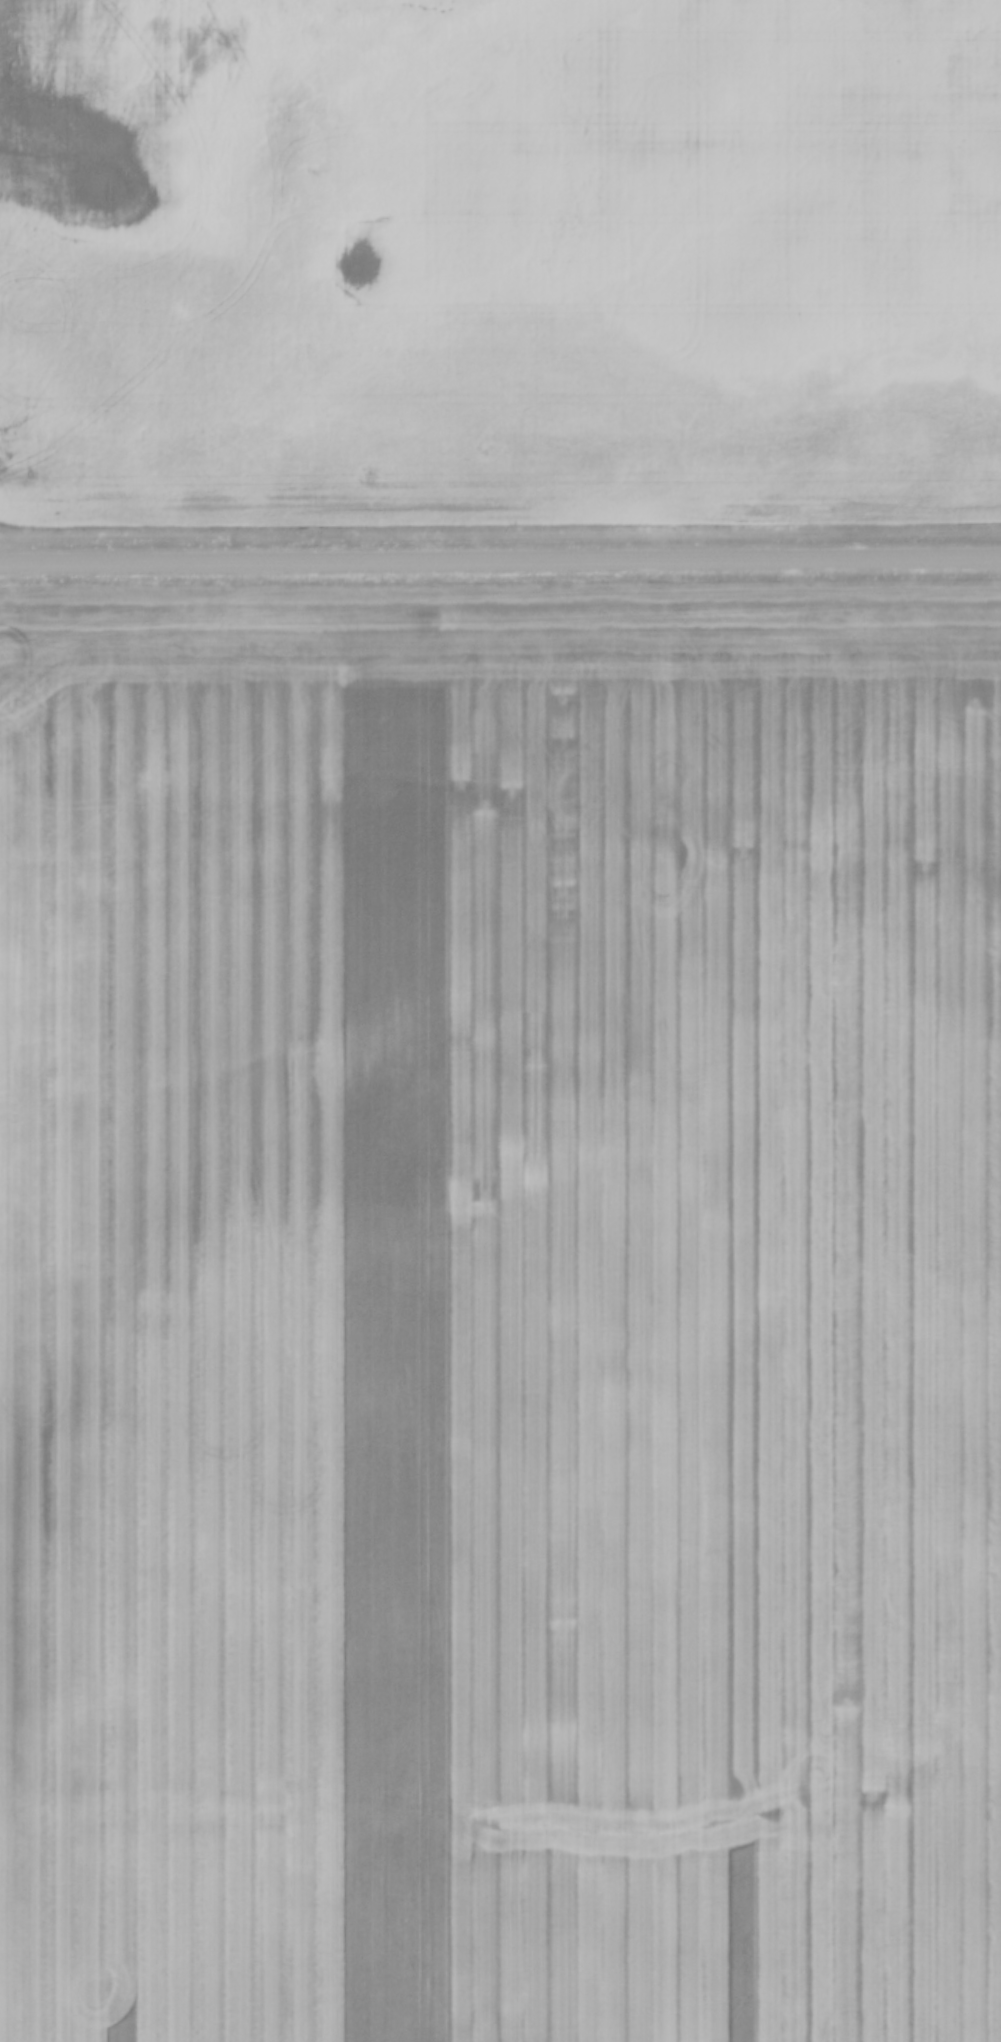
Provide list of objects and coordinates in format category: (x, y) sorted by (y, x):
road: (500, 560)

